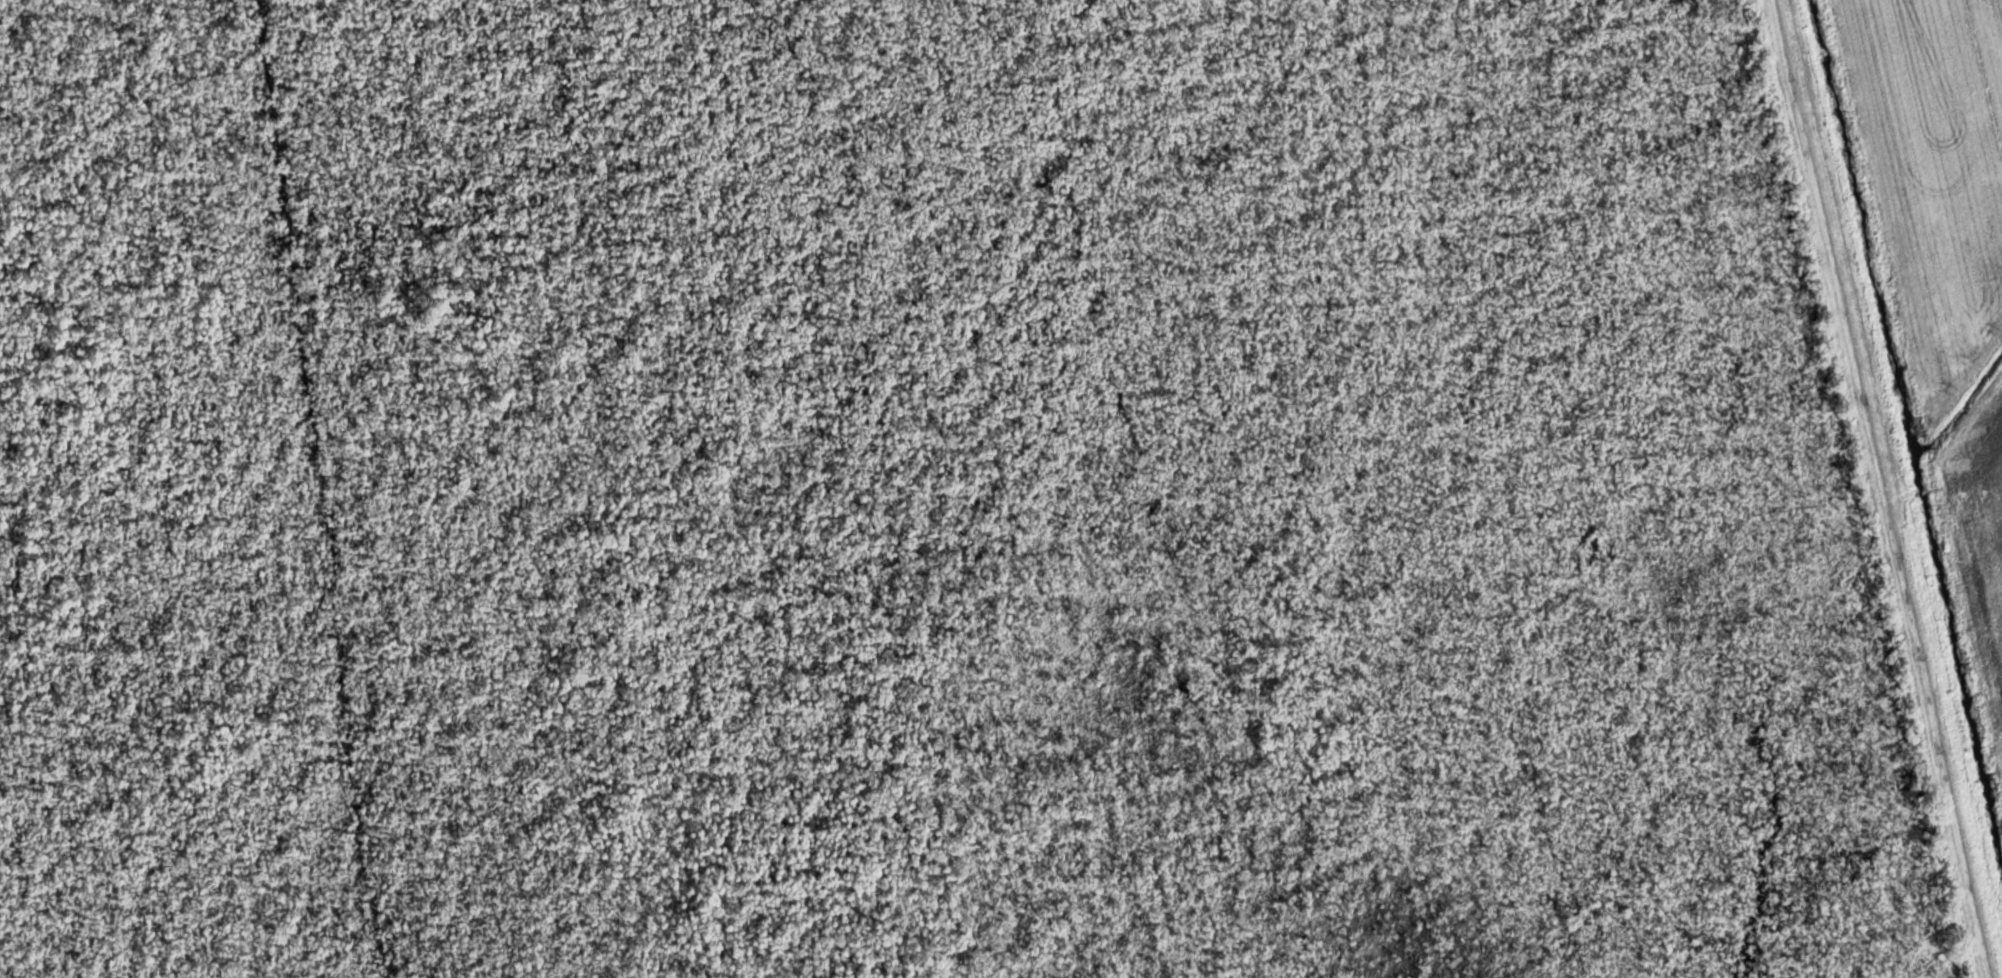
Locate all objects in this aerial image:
road: (1882, 488)

